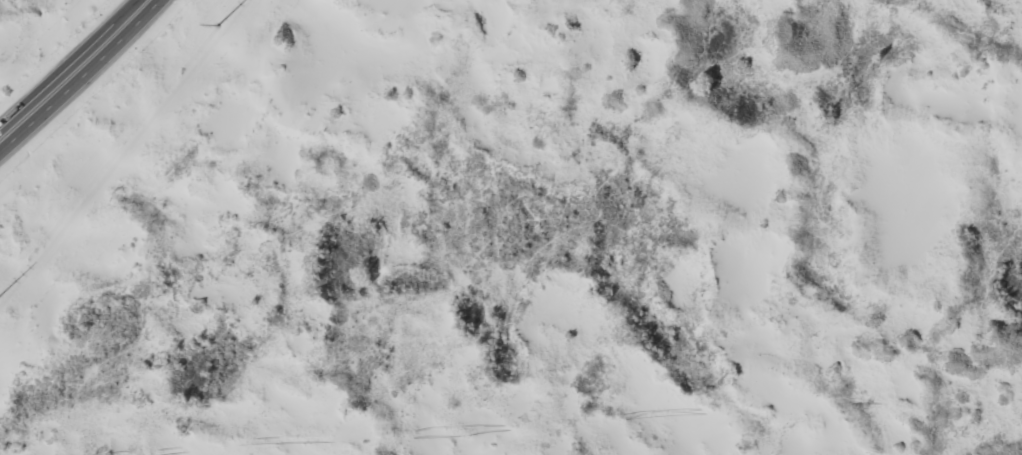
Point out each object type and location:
power tower: (231, 39)
road: (79, 73)
power tower: (3, 316)

